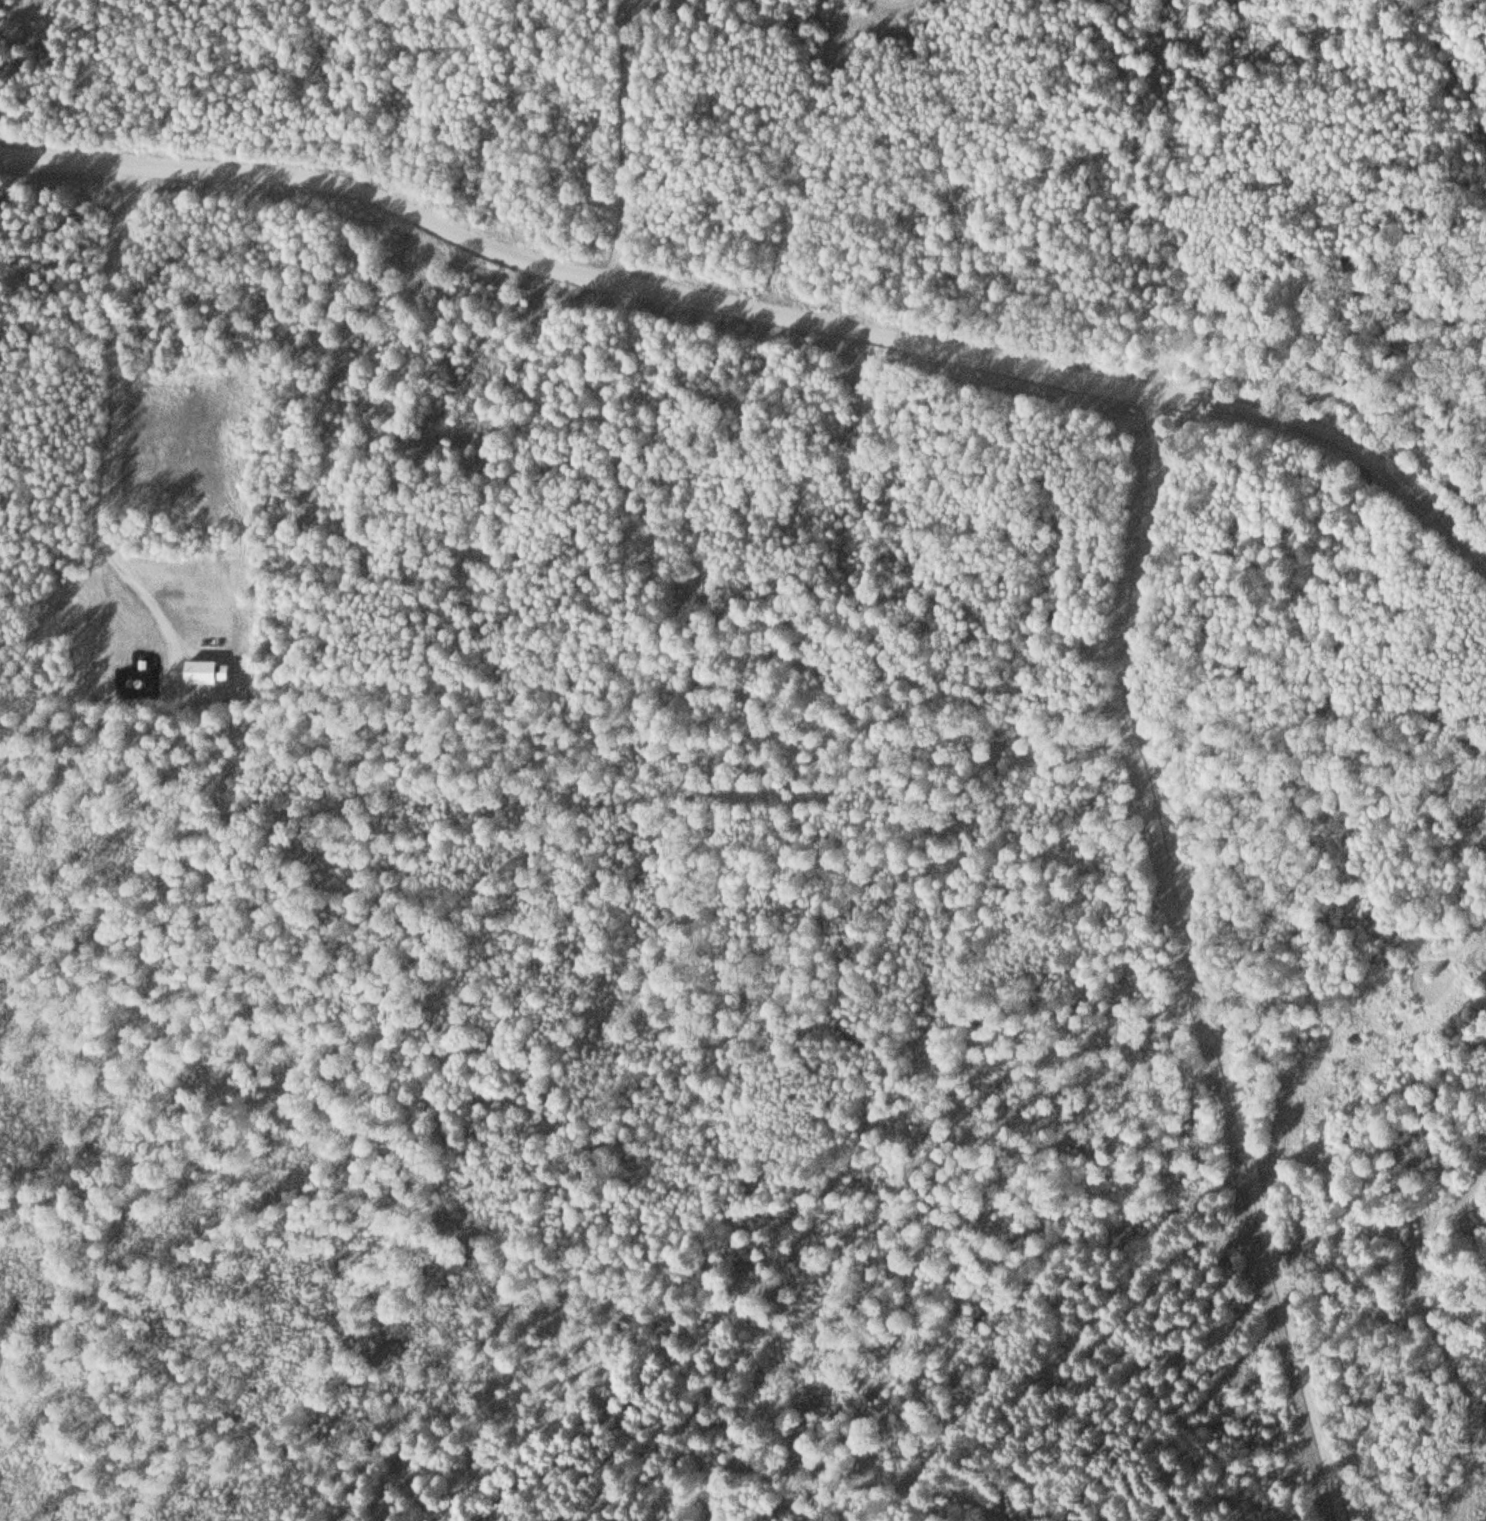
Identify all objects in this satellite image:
road: (761, 314)
building: (203, 672)
road: (1196, 964)

